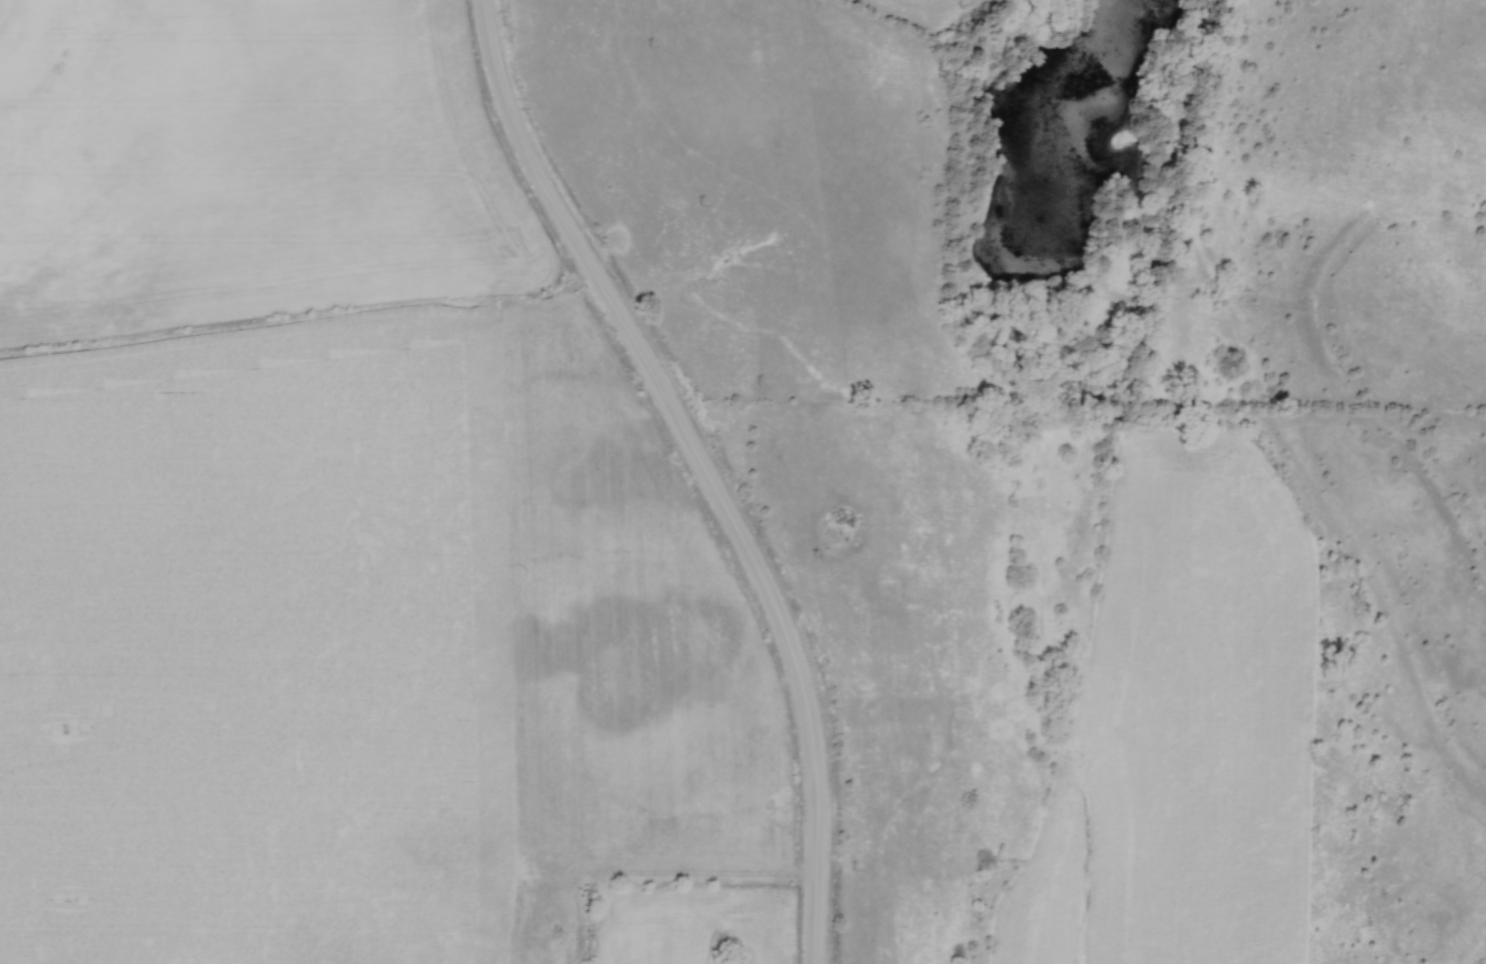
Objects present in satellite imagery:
road: (699, 467)

